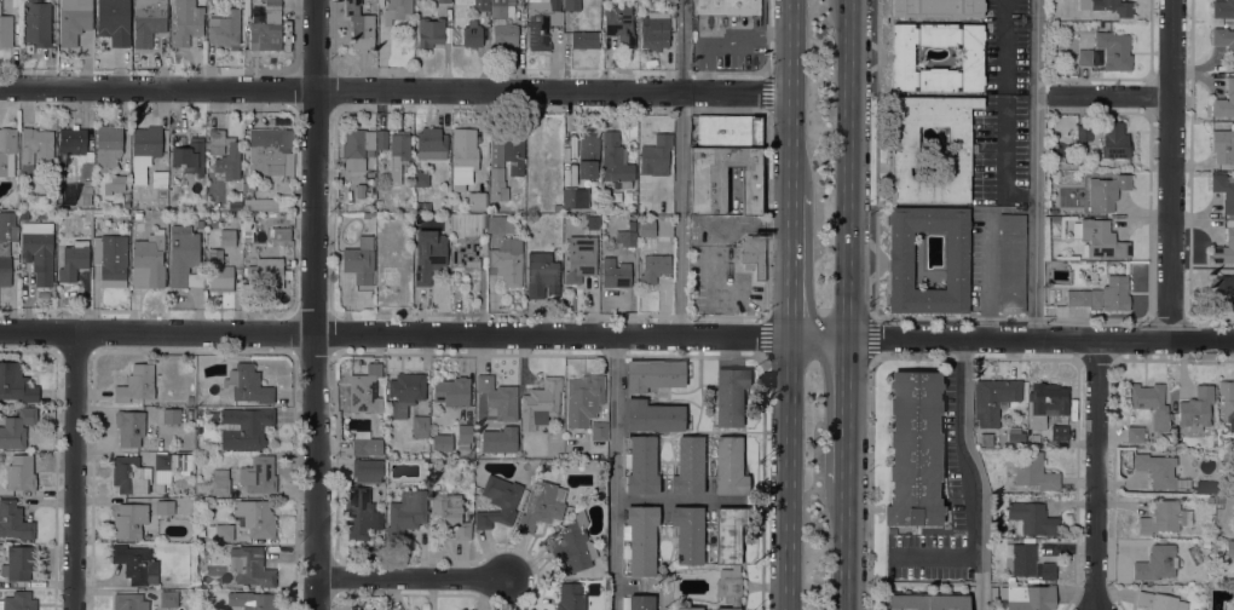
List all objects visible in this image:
building: (443, 0)
building: (482, 5)
building: (572, 5)
building: (726, 6)
building: (1108, 6)
building: (502, 7)
building: (938, 7)
building: (1223, 8)
building: (397, 10)
building: (74, 19)
building: (114, 21)
building: (148, 21)
building: (186, 22)
building: (542, 22)
building: (36, 23)
building: (619, 24)
building: (359, 25)
building: (225, 27)
building: (1106, 27)
building: (266, 28)
building: (5, 30)
building: (655, 30)
building: (429, 31)
building: (472, 34)
building: (504, 35)
building: (584, 40)
road: (1008, 41)
building: (1224, 42)
building: (1113, 50)
building: (970, 56)
building: (1083, 57)
road: (394, 91)
road: (790, 96)
road: (1106, 99)
building: (1224, 100)
building: (728, 131)
building: (1084, 132)
building: (381, 139)
building: (431, 140)
building: (1114, 140)
building: (70, 143)
building: (1222, 145)
building: (144, 146)
building: (356, 146)
building: (35, 148)
building: (962, 148)
building: (7, 150)
building: (270, 151)
building: (215, 152)
building: (398, 154)
building: (588, 154)
building: (108, 155)
building: (506, 155)
building: (656, 155)
building: (189, 156)
building: (463, 156)
building: (554, 159)
building: (615, 159)
road: (679, 167)
road: (848, 168)
road: (1037, 168)
road: (1174, 169)
building: (85, 174)
building: (417, 177)
building: (158, 178)
building: (722, 178)
building: (552, 182)
building: (250, 186)
building: (359, 190)
building: (1224, 190)
building: (1105, 191)
building: (573, 197)
building: (47, 198)
building: (477, 198)
building: (82, 200)
building: (266, 202)
building: (125, 203)
building: (422, 206)
building: (237, 207)
building: (98, 212)
building: (23, 214)
building: (138, 214)
building: (201, 214)
building: (1055, 219)
building: (592, 221)
building: (198, 223)
building: (500, 224)
building: (646, 228)
building: (279, 235)
building: (226, 237)
building: (247, 237)
building: (625, 237)
building: (1100, 237)
building: (468, 240)
building: (6, 244)
building: (1224, 246)
building: (38, 251)
building: (428, 254)
building: (752, 255)
building: (184, 257)
building: (579, 258)
building: (110, 259)
building: (73, 260)
building: (148, 260)
building: (359, 260)
building: (507, 260)
building: (900, 260)
building: (1011, 261)
road: (790, 265)
building: (653, 266)
building: (218, 271)
building: (615, 272)
building: (264, 274)
building: (542, 274)
building: (1061, 276)
road: (986, 280)
building: (1222, 292)
building: (1102, 294)
road: (313, 305)
road: (394, 333)
road: (1011, 338)
building: (653, 374)
building: (16, 382)
building: (135, 384)
building: (247, 384)
building: (364, 390)
building: (405, 391)
building: (451, 391)
building: (730, 395)
building: (583, 398)
building: (190, 399)
building: (495, 399)
building: (993, 399)
building: (1046, 402)
building: (1149, 402)
building: (1227, 402)
building: (540, 403)
building: (1195, 408)
road: (847, 409)
building: (1016, 409)
building: (171, 415)
building: (652, 415)
building: (198, 421)
building: (420, 425)
building: (16, 427)
building: (129, 427)
building: (244, 427)
building: (598, 431)
building: (1059, 432)
building: (1135, 433)
building: (463, 436)
building: (1015, 436)
building: (1167, 437)
building: (987, 438)
building: (1034, 438)
building: (442, 442)
building: (365, 444)
building: (913, 449)
building: (423, 454)
building: (1205, 465)
building: (641, 466)
building: (688, 466)
building: (730, 466)
building: (169, 467)
building: (1030, 468)
building: (367, 470)
building: (438, 470)
building: (1157, 470)
road: (74, 471)
building: (21, 472)
road: (615, 472)
road: (788, 473)
building: (256, 474)
road: (1096, 474)
building: (128, 476)
building: (219, 482)
building: (1204, 485)
road: (979, 489)
road: (676, 499)
building: (1209, 499)
building: (1219, 499)
building: (497, 501)
building: (541, 505)
building: (165, 507)
building: (406, 512)
building: (358, 513)
building: (449, 514)
building: (254, 517)
building: (1164, 517)
building: (1031, 518)
building: (15, 519)
building: (129, 520)
building: (201, 531)
building: (219, 533)
building: (687, 534)
building: (641, 539)
building: (1206, 543)
building: (572, 546)
road: (844, 546)
building: (1, 547)
building: (1229, 549)
building: (728, 554)
building: (1216, 554)
building: (18, 562)
building: (1028, 562)
building: (1157, 563)
building: (135, 564)
building: (250, 565)
road: (413, 580)
road: (979, 583)
building: (570, 597)
building: (1025, 597)
building: (168, 598)
building: (252, 600)
building: (925, 600)
building: (18, 602)
building: (128, 602)
building: (641, 602)
building: (1159, 602)
building: (688, 608)

